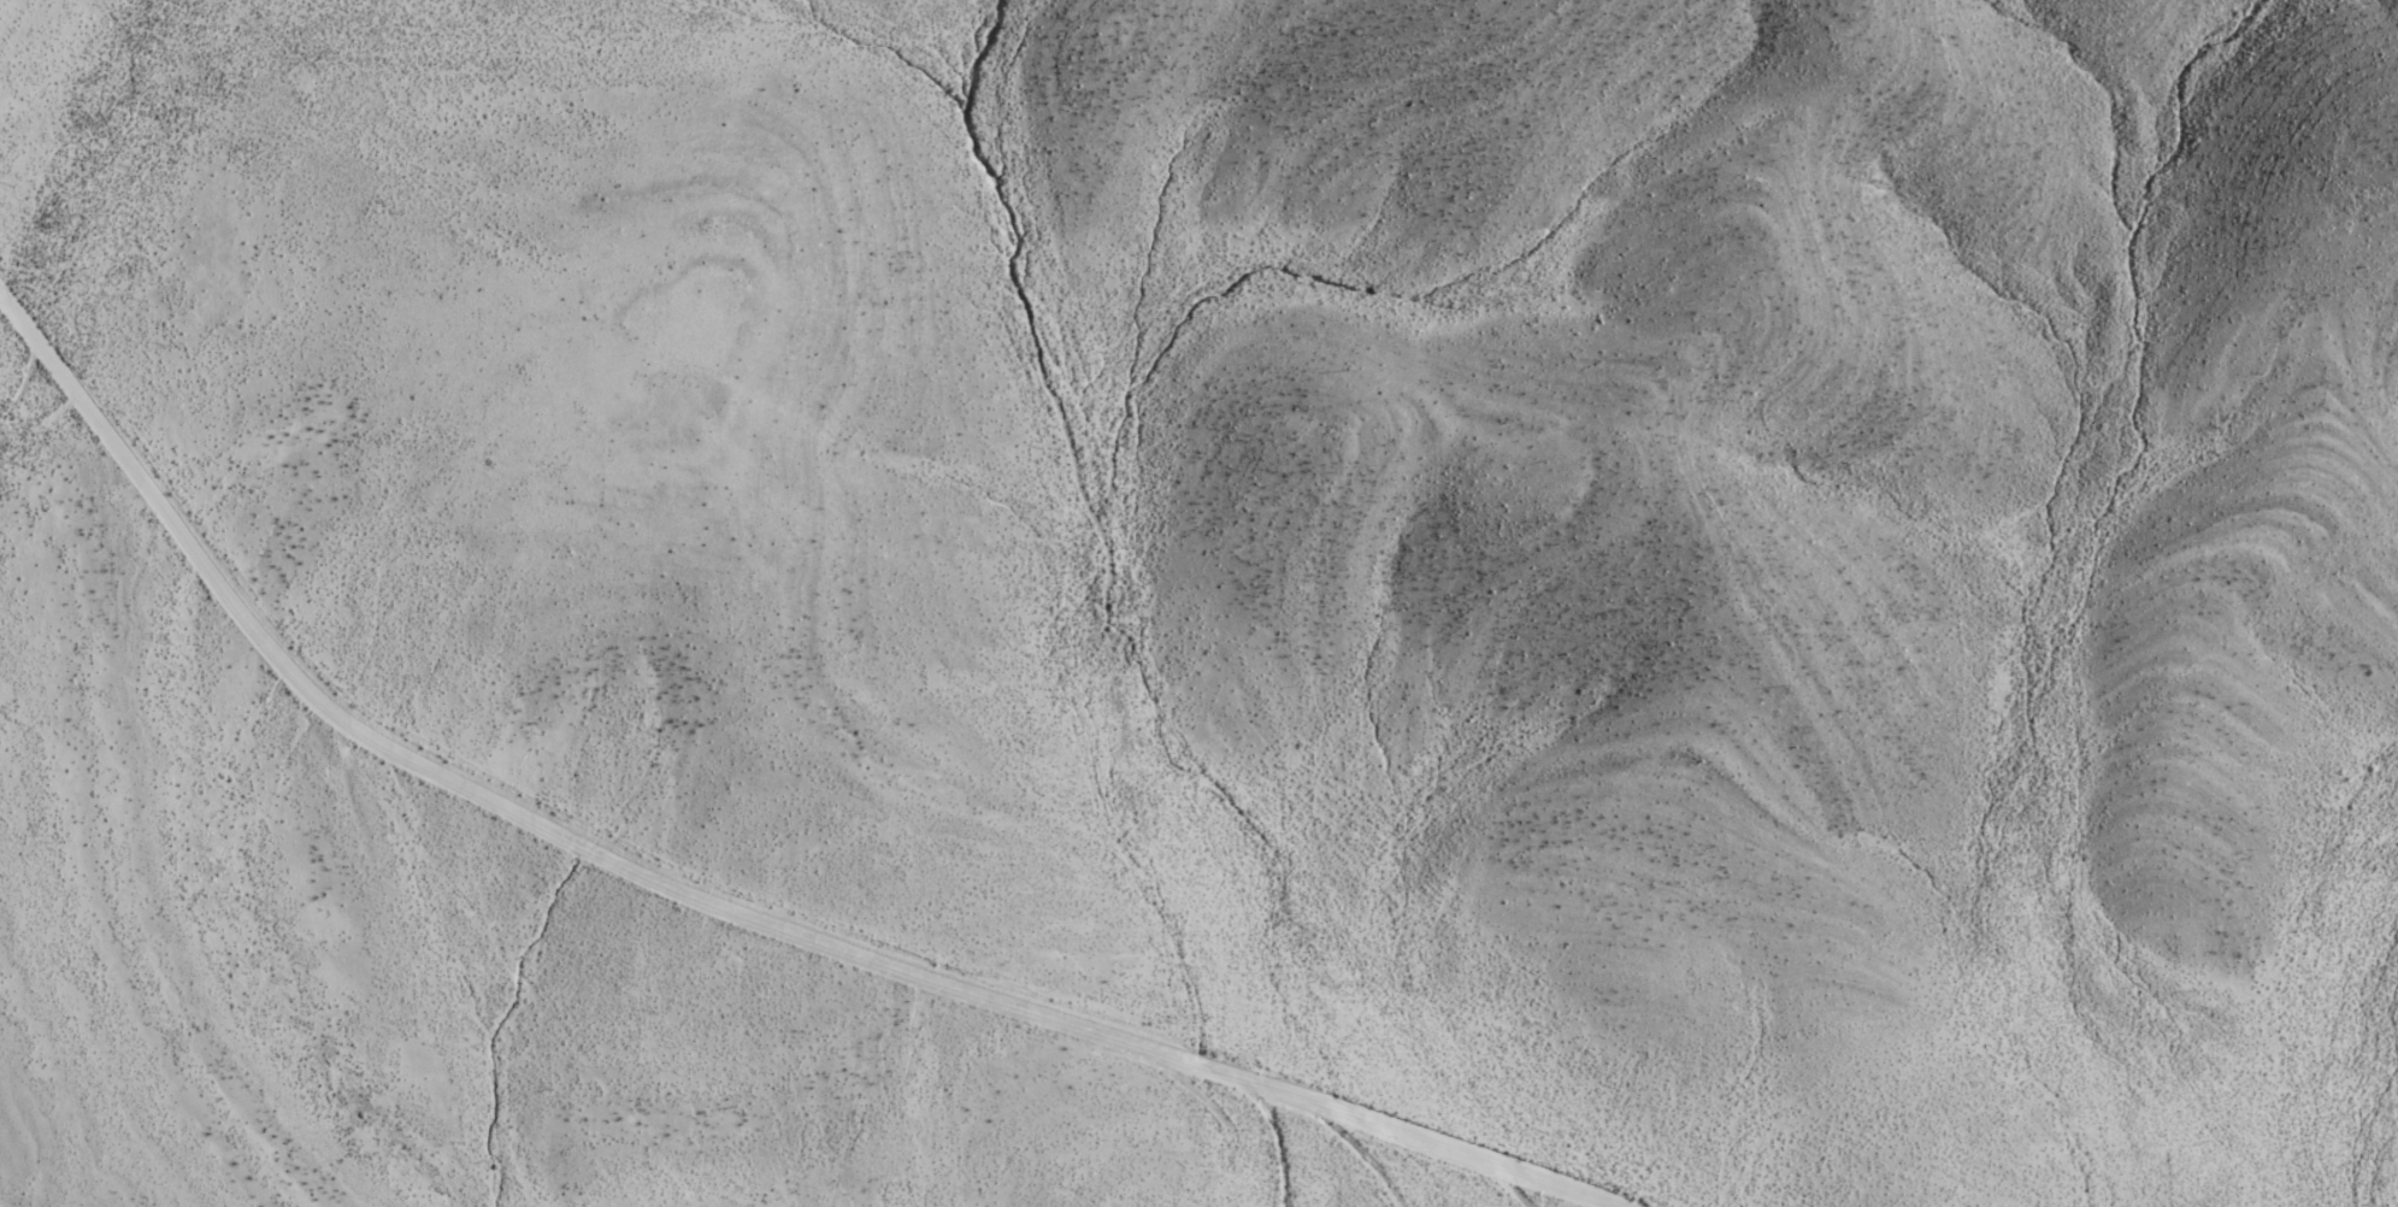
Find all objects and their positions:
road: (709, 905)

